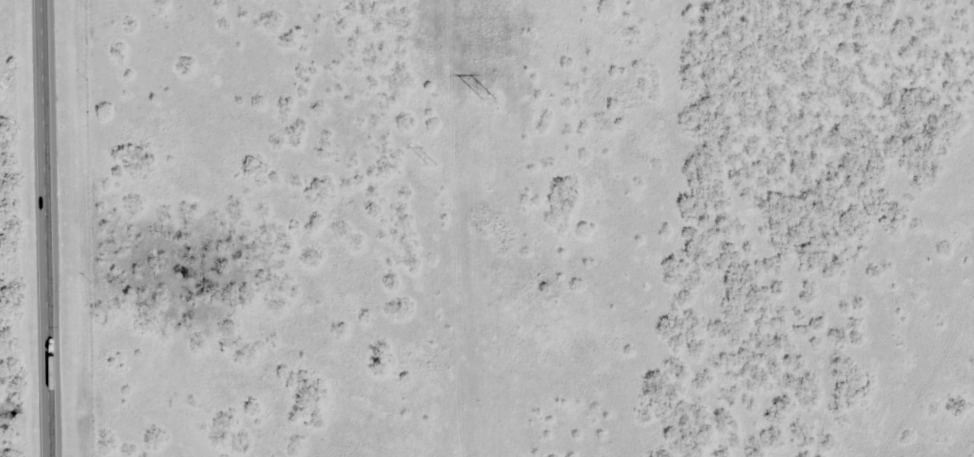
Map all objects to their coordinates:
power tower: (484, 101)
power tower: (431, 165)
road: (46, 228)

